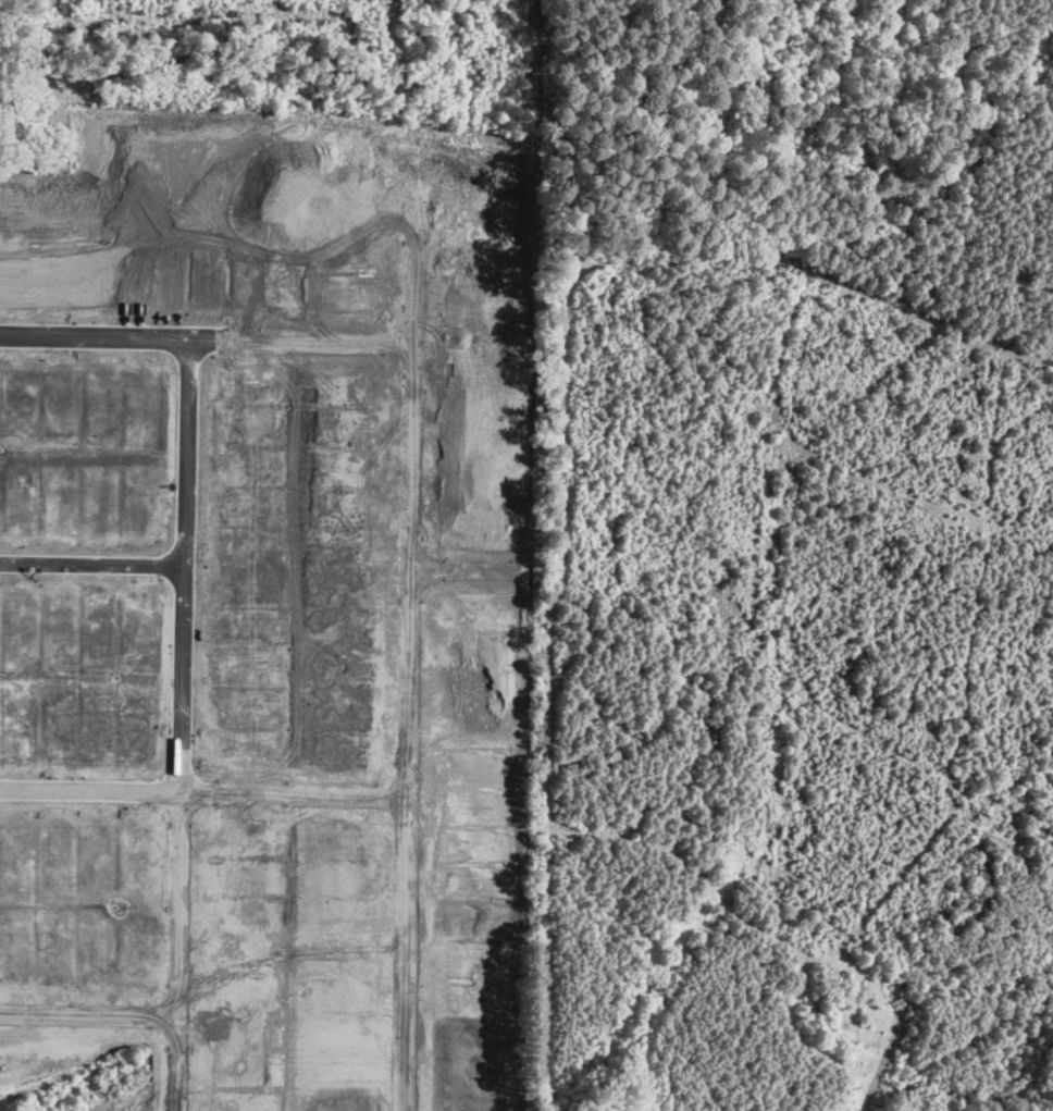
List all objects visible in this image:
road: (259, 335)
road: (421, 518)
road: (479, 564)
road: (91, 565)
road: (182, 674)
road: (208, 790)
road: (89, 1011)

